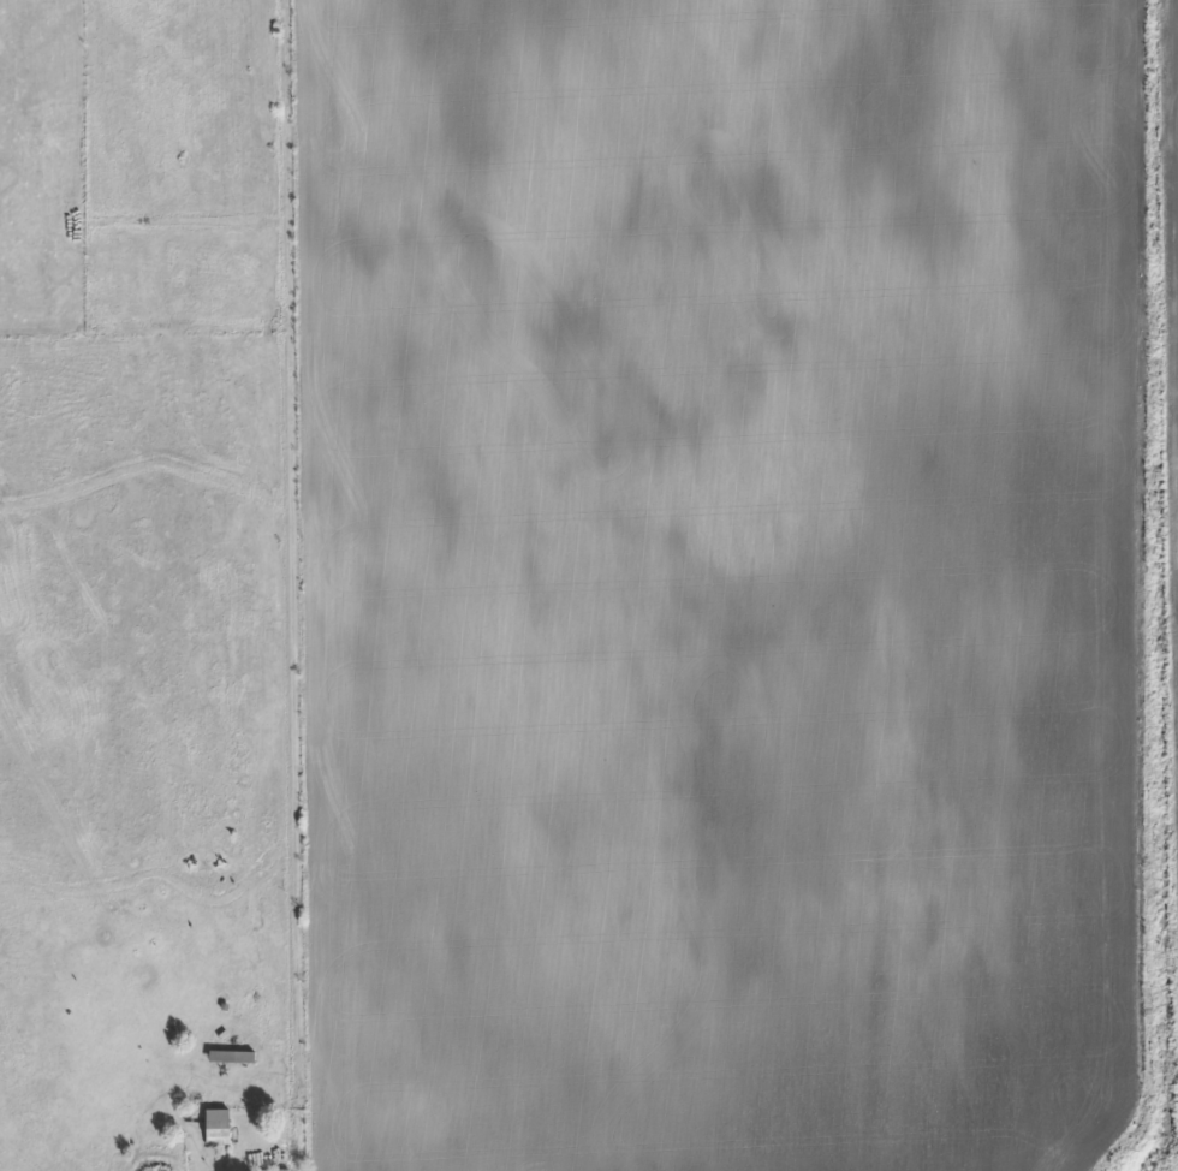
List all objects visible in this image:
building: (219, 1127)
road: (200, 1140)

